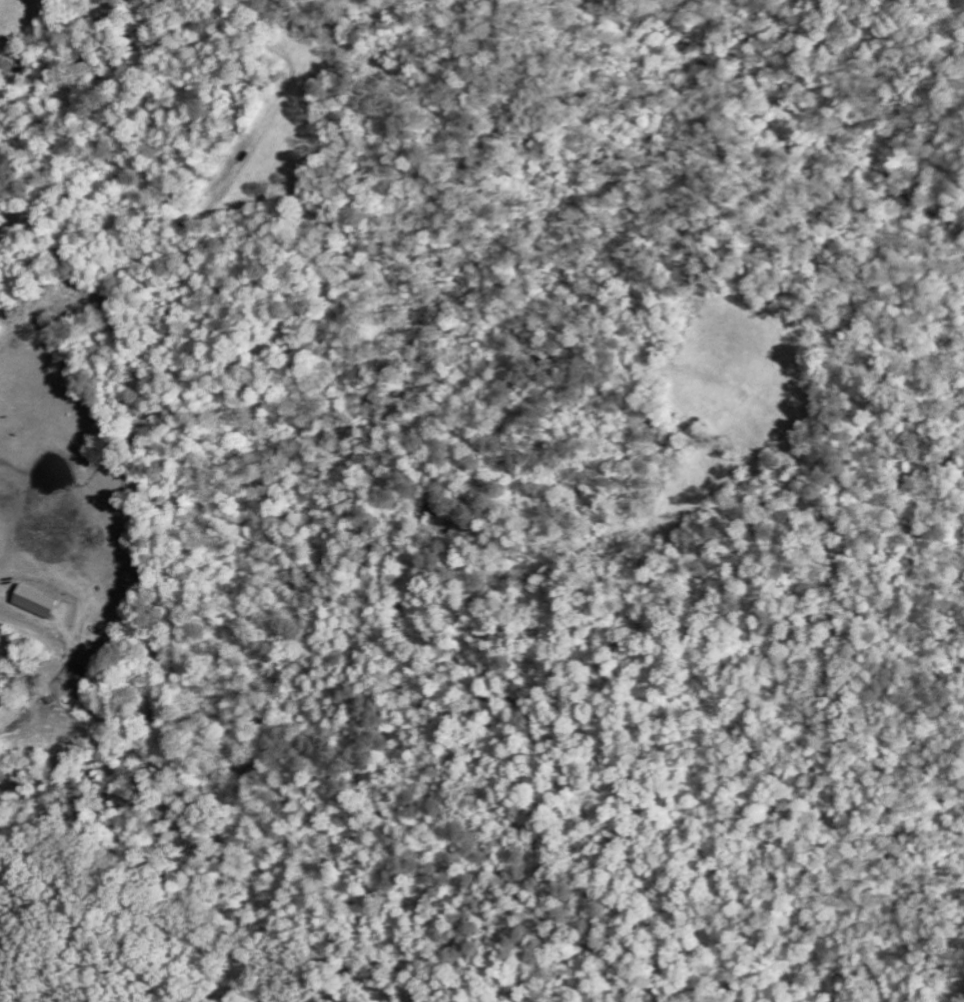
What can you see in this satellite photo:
building: (42, 601)

